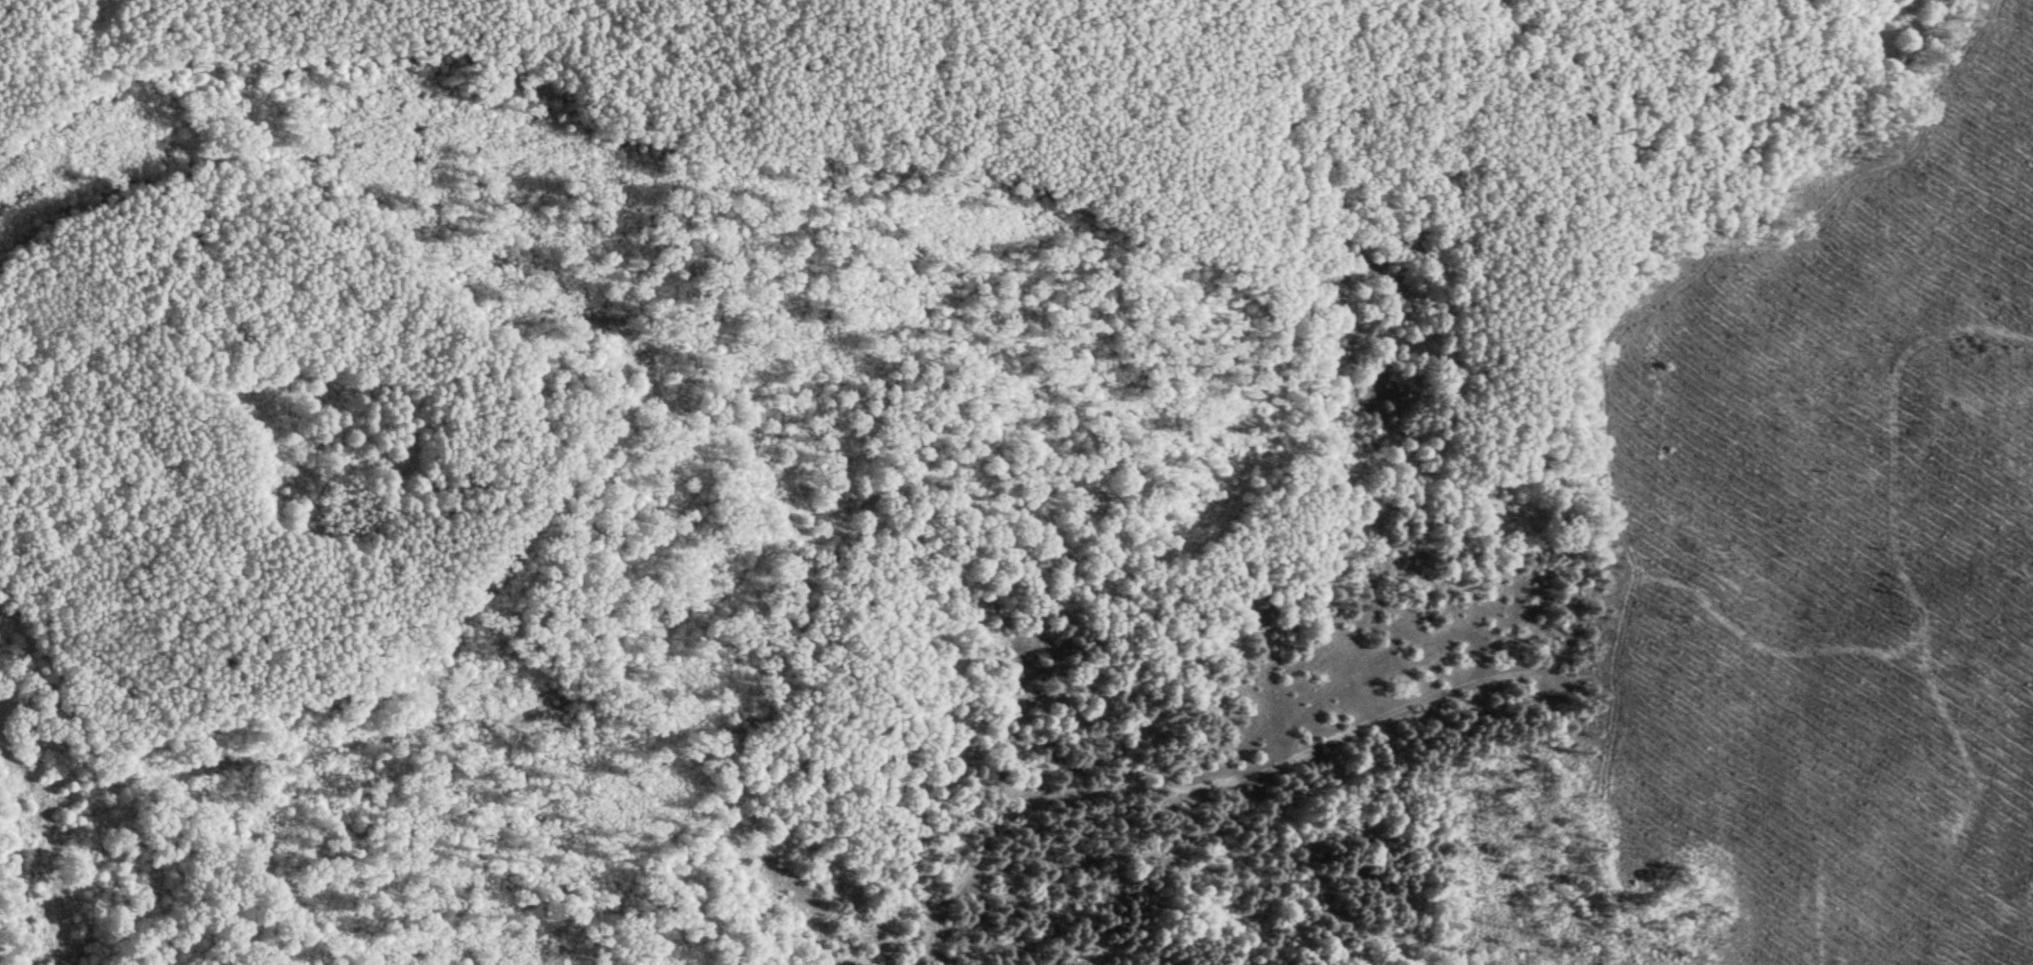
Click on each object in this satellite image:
road: (1288, 770)

